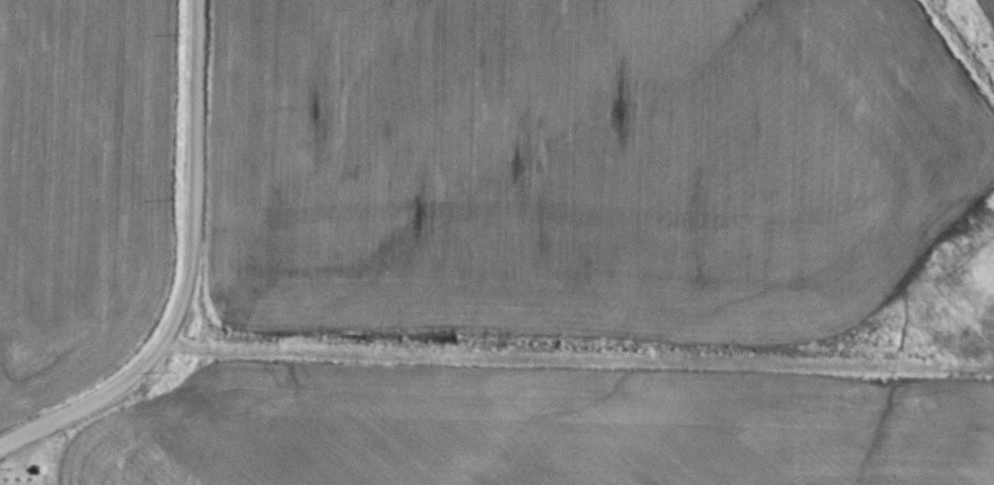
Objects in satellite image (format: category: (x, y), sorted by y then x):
road: (189, 271)

